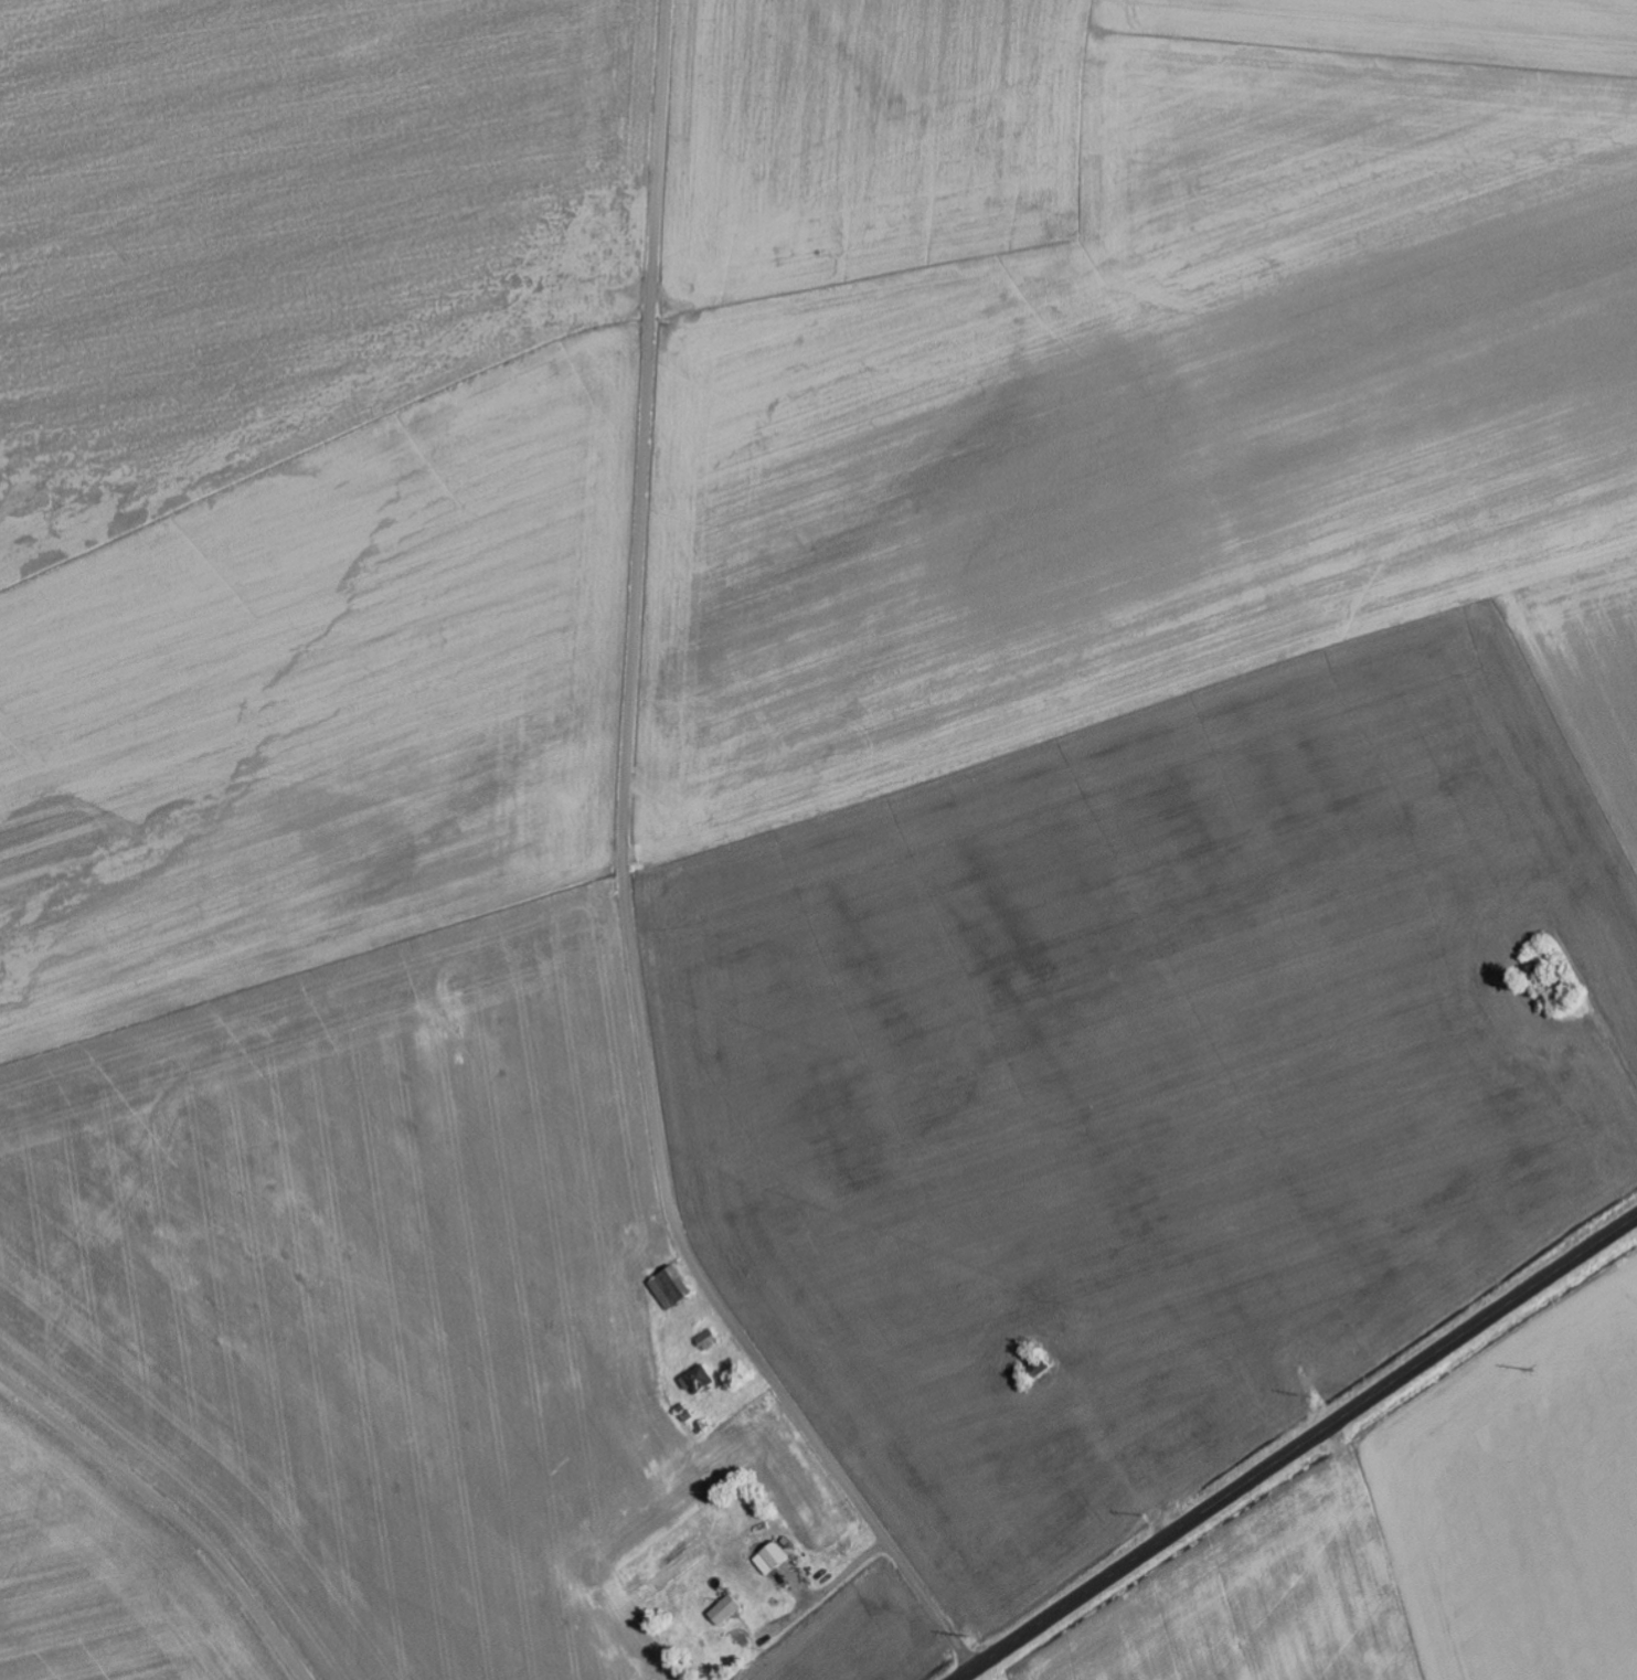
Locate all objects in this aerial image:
road: (625, 882)
building: (672, 1288)
building: (701, 1380)
road: (1297, 1448)
road: (167, 1513)
building: (773, 1559)
building: (726, 1610)

